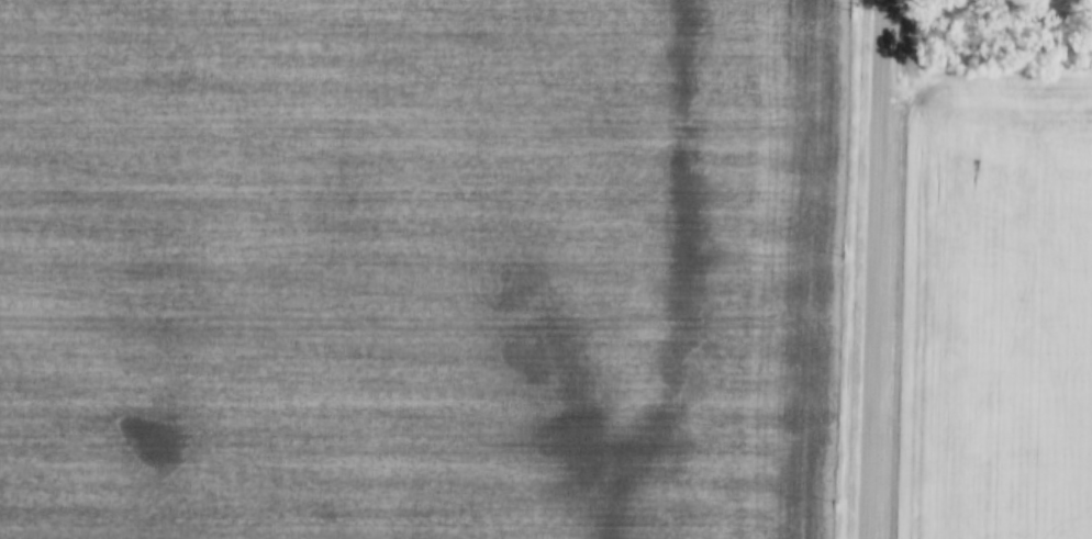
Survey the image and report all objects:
crop: (421, 268)
road: (877, 269)
crop: (996, 307)

